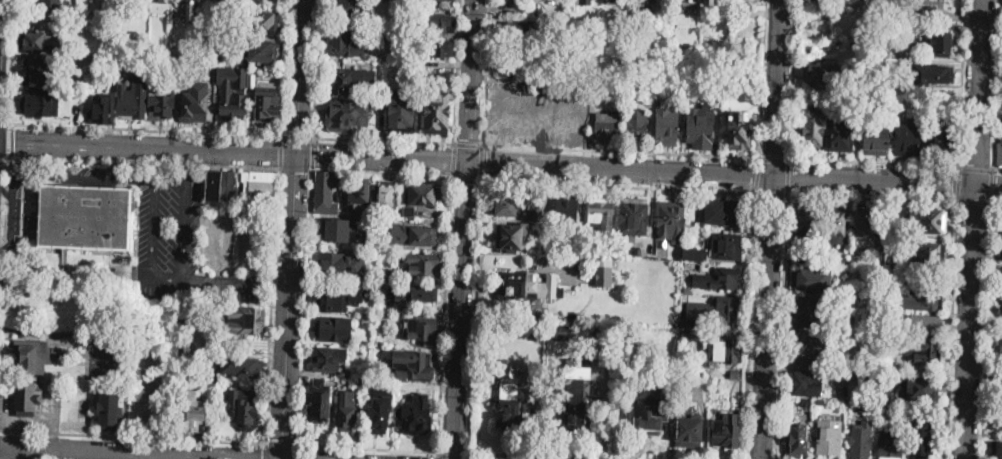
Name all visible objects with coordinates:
building: (163, 0)
building: (450, 0)
building: (615, 0)
building: (162, 1)
building: (392, 1)
building: (709, 1)
building: (853, 1)
building: (923, 1)
building: (584, 2)
building: (520, 3)
building: (51, 4)
building: (245, 4)
building: (689, 6)
building: (347, 7)
building: (940, 7)
building: (191, 10)
building: (357, 10)
building: (520, 12)
building: (742, 12)
building: (908, 12)
building: (927, 14)
building: (261, 22)
building: (436, 24)
building: (512, 31)
building: (39, 42)
building: (939, 43)
building: (345, 44)
building: (142, 48)
building: (437, 48)
building: (261, 50)
building: (117, 61)
road: (11, 62)
building: (510, 63)
road: (283, 67)
road: (316, 68)
building: (679, 70)
building: (42, 71)
building: (425, 71)
road: (456, 71)
road: (485, 72)
building: (824, 74)
building: (931, 75)
road: (299, 76)
road: (792, 78)
building: (350, 79)
road: (765, 79)
building: (251, 81)
road: (471, 82)
road: (962, 82)
building: (854, 85)
road: (996, 85)
building: (155, 88)
building: (232, 89)
road: (977, 93)
building: (133, 102)
building: (269, 102)
building: (382, 102)
building: (195, 104)
building: (43, 105)
building: (163, 106)
building: (100, 110)
building: (401, 111)
building: (437, 113)
building: (349, 115)
road: (4, 123)
building: (636, 126)
building: (668, 126)
building: (606, 127)
building: (813, 128)
road: (144, 129)
building: (700, 129)
building: (739, 132)
building: (839, 135)
road: (296, 136)
building: (907, 138)
building: (939, 139)
road: (383, 140)
building: (875, 140)
road: (8, 142)
road: (468, 144)
road: (233, 149)
road: (280, 151)
road: (621, 152)
road: (312, 153)
building: (1000, 155)
road: (179, 158)
road: (453, 158)
road: (774, 158)
road: (4, 159)
road: (482, 161)
road: (875, 161)
road: (144, 163)
road: (976, 168)
road: (295, 169)
road: (381, 171)
road: (466, 174)
road: (720, 175)
road: (757, 175)
road: (790, 175)
road: (959, 182)
road: (618, 184)
road: (992, 185)
building: (222, 186)
road: (987, 186)
building: (259, 188)
road: (8, 191)
road: (772, 193)
building: (324, 194)
building: (423, 194)
building: (360, 196)
building: (387, 196)
road: (874, 197)
road: (975, 200)
road: (997, 201)
building: (506, 206)
building: (563, 210)
road: (15, 211)
building: (409, 211)
building: (724, 212)
building: (535, 213)
building: (601, 213)
building: (85, 218)
road: (216, 218)
building: (634, 218)
building: (671, 220)
building: (805, 220)
building: (928, 220)
parking lot: (141, 221)
building: (865, 222)
building: (835, 223)
road: (772, 229)
building: (1001, 229)
building: (338, 230)
road: (149, 235)
building: (413, 235)
building: (511, 237)
building: (726, 246)
building: (636, 250)
parking lot: (229, 252)
building: (1001, 253)
building: (928, 254)
building: (695, 255)
building: (374, 256)
road: (4, 259)
building: (844, 260)
building: (343, 265)
building: (421, 265)
road: (31, 268)
building: (604, 272)
building: (1001, 274)
building: (386, 275)
building: (720, 279)
building: (812, 280)
building: (524, 286)
road: (276, 289)
building: (687, 289)
building: (416, 293)
building: (924, 298)
building: (336, 300)
road: (272, 304)
road: (288, 305)
road: (305, 306)
building: (699, 307)
building: (1000, 309)
building: (717, 310)
road: (460, 311)
building: (808, 312)
road: (446, 313)
road: (474, 314)
building: (906, 317)
building: (368, 319)
building: (247, 321)
building: (193, 322)
road: (969, 322)
building: (925, 324)
road: (749, 326)
road: (782, 326)
building: (537, 328)
building: (336, 329)
building: (422, 329)
road: (952, 329)
building: (559, 330)
road: (986, 330)
building: (686, 331)
road: (74, 332)
building: (600, 332)
road: (11, 336)
building: (626, 336)
building: (810, 348)
building: (999, 348)
building: (866, 349)
building: (726, 350)
building: (924, 351)
building: (33, 355)
building: (327, 359)
parking lot: (108, 362)
building: (242, 366)
building: (414, 366)
building: (735, 373)
building: (685, 374)
building: (866, 378)
building: (715, 381)
building: (806, 383)
parking lot: (147, 385)
building: (1000, 387)
building: (922, 388)
building: (893, 393)
building: (27, 395)
road: (148, 399)
building: (509, 399)
building: (821, 401)
parking lot: (50, 403)
building: (318, 404)
building: (805, 404)
building: (871, 405)
building: (576, 406)
building: (858, 406)
building: (347, 408)
building: (243, 409)
building: (109, 411)
building: (649, 411)
building: (885, 411)
building: (192, 412)
building: (379, 414)
building: (415, 416)
road: (52, 419)
building: (998, 421)
building: (688, 427)
building: (815, 427)
building: (725, 432)
road: (132, 436)
building: (829, 438)
building: (798, 441)
building: (922, 441)
road: (282, 442)
building: (861, 443)
building: (891, 445)
road: (369, 447)
road: (264, 450)
building: (998, 450)
road: (299, 451)
road: (96, 454)
road: (453, 454)
road: (467, 455)
road: (547, 455)
road: (439, 456)

